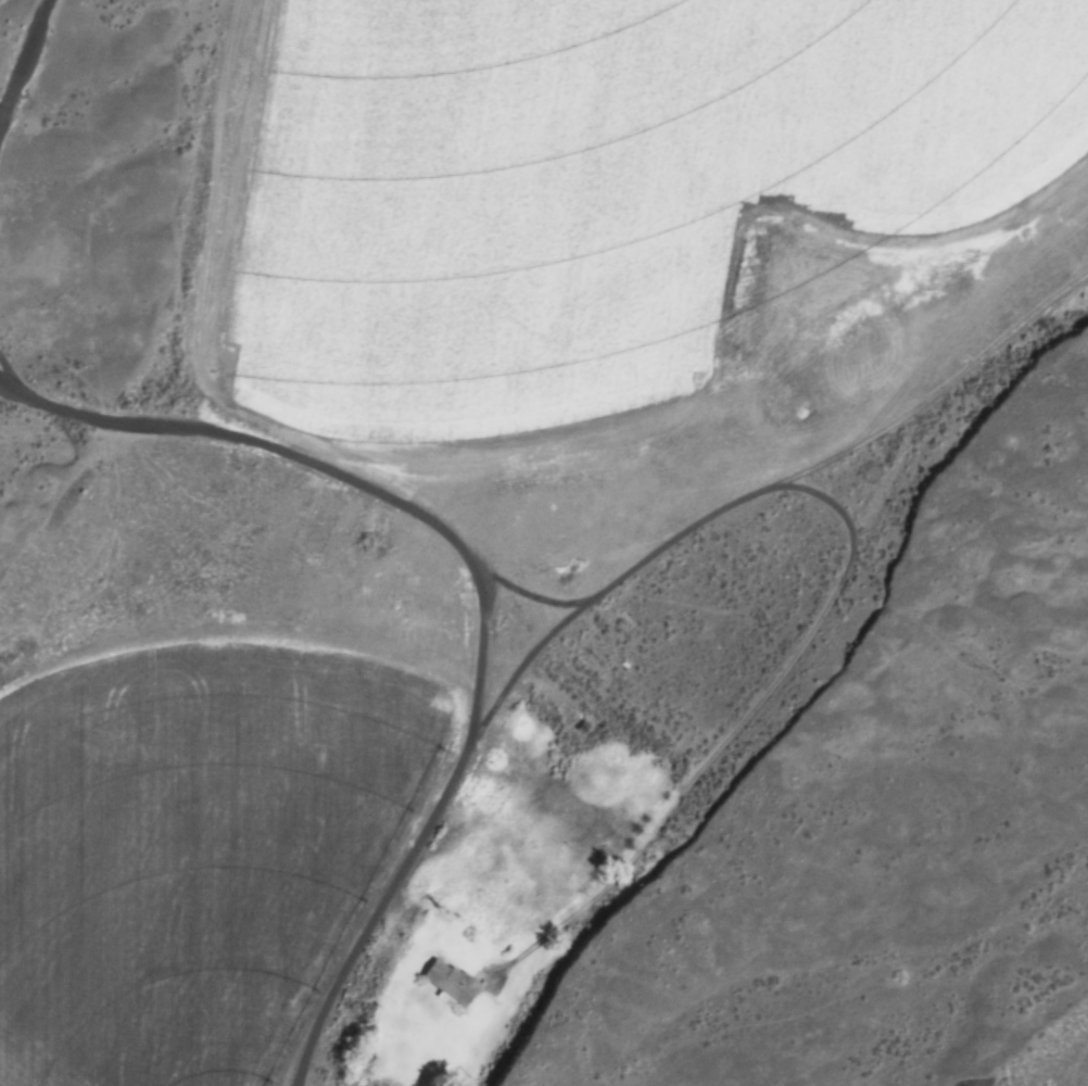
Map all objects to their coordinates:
road: (25, 60)
road: (469, 586)
building: (448, 984)

